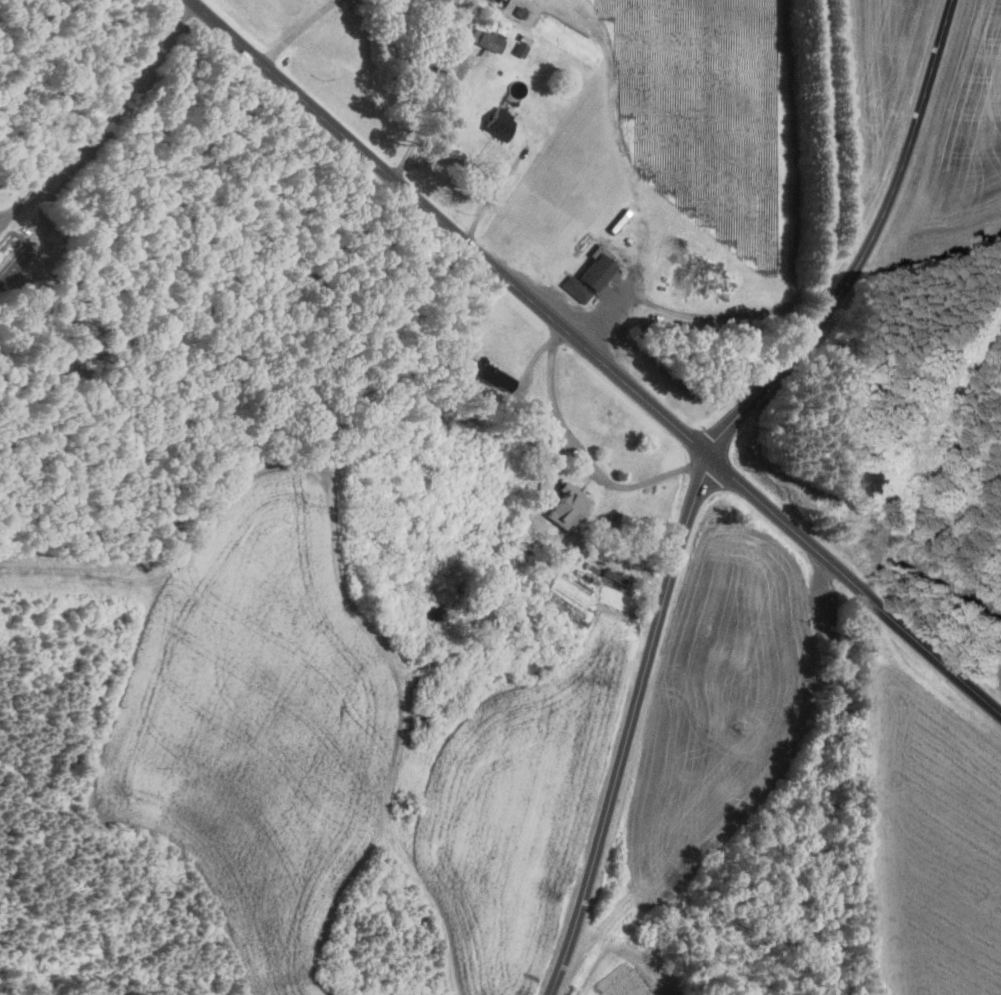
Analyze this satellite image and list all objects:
building: (520, 11)
road: (286, 34)
building: (488, 39)
building: (520, 49)
road: (437, 81)
building: (500, 123)
road: (820, 156)
road: (867, 247)
building: (589, 278)
road: (594, 356)
building: (489, 372)
road: (560, 420)
road: (663, 478)
building: (879, 478)
building: (568, 505)
building: (430, 612)
building: (530, 666)
road: (630, 725)

